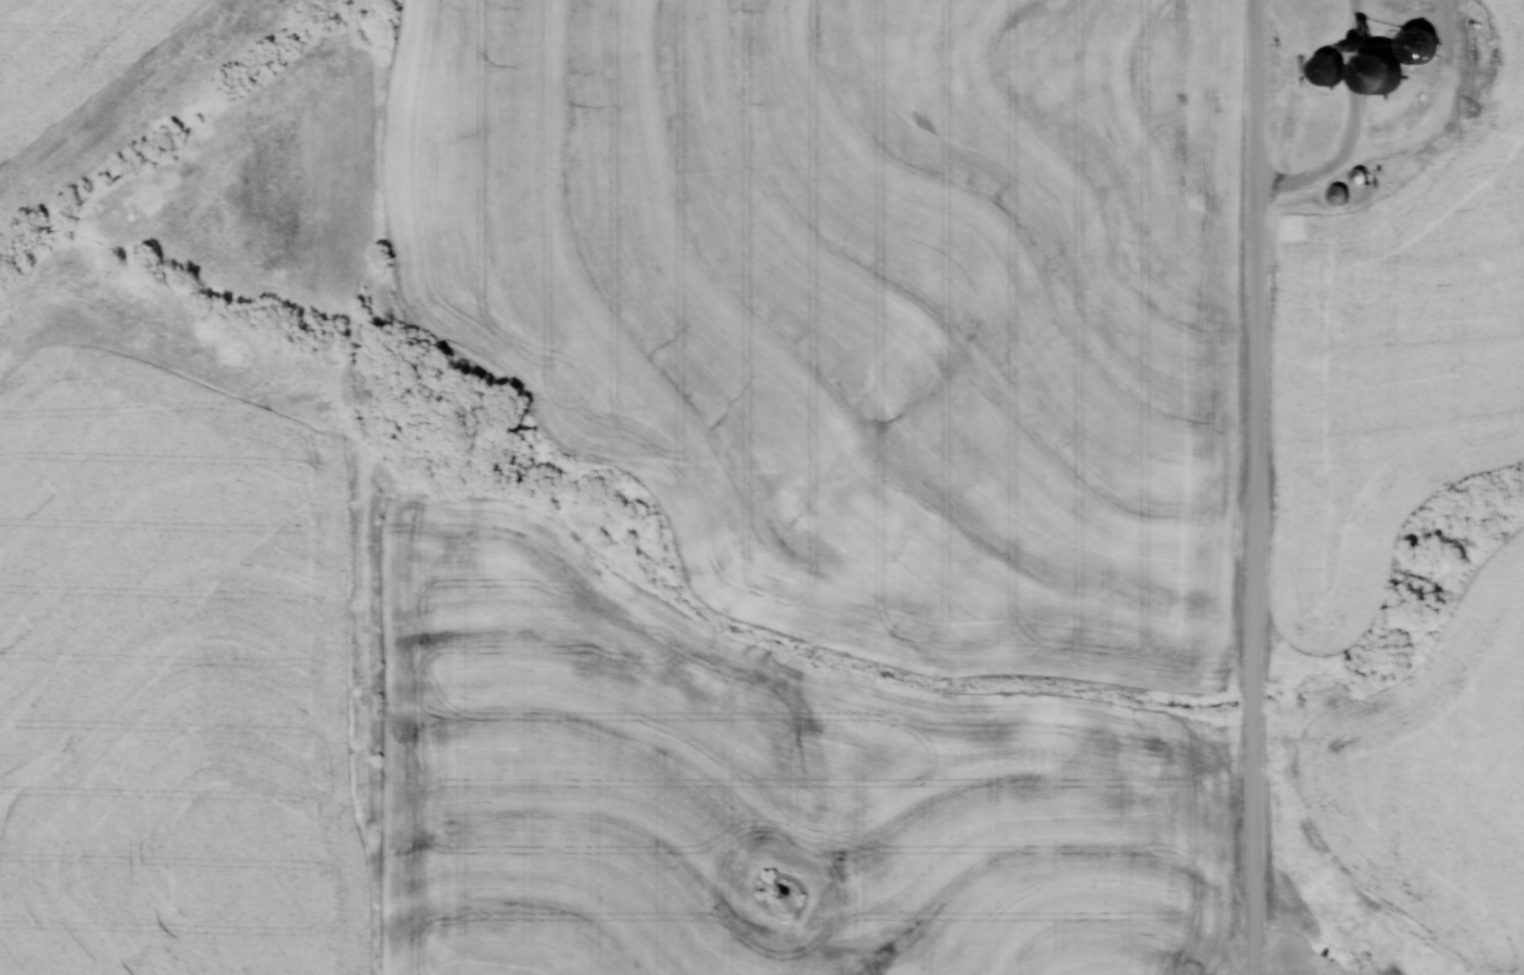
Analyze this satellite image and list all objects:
building: (1313, 69)
building: (1330, 196)
road: (1260, 487)

